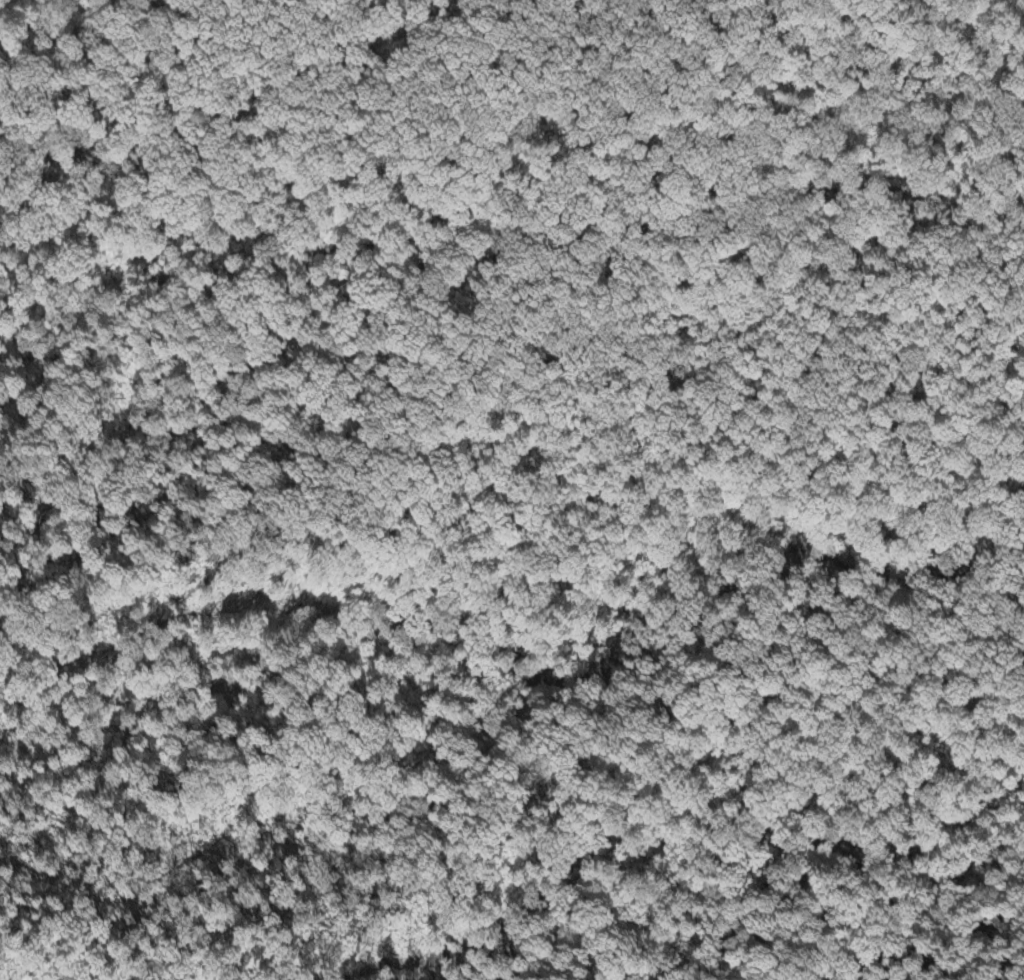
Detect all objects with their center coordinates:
park: (500, 475)

